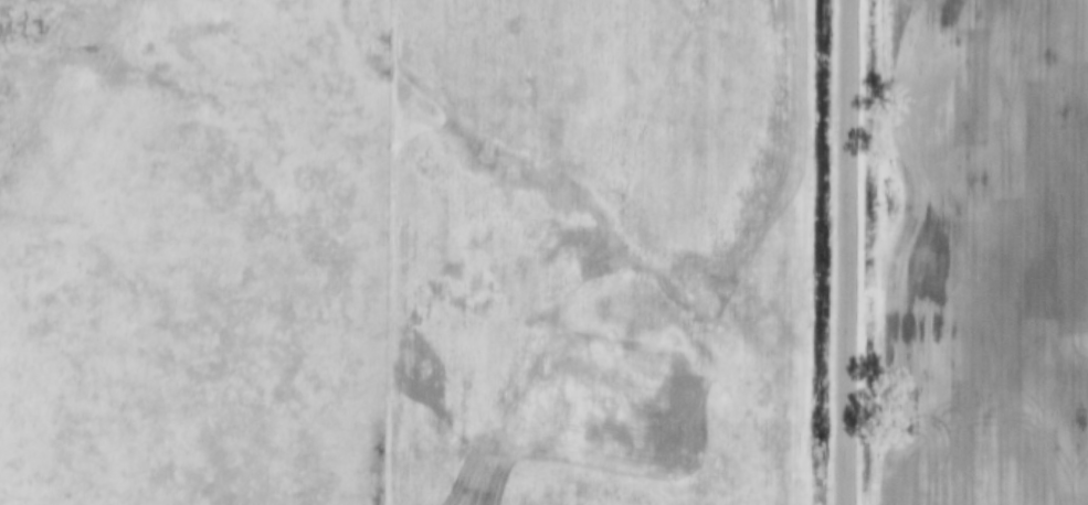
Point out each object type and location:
road: (853, 253)

